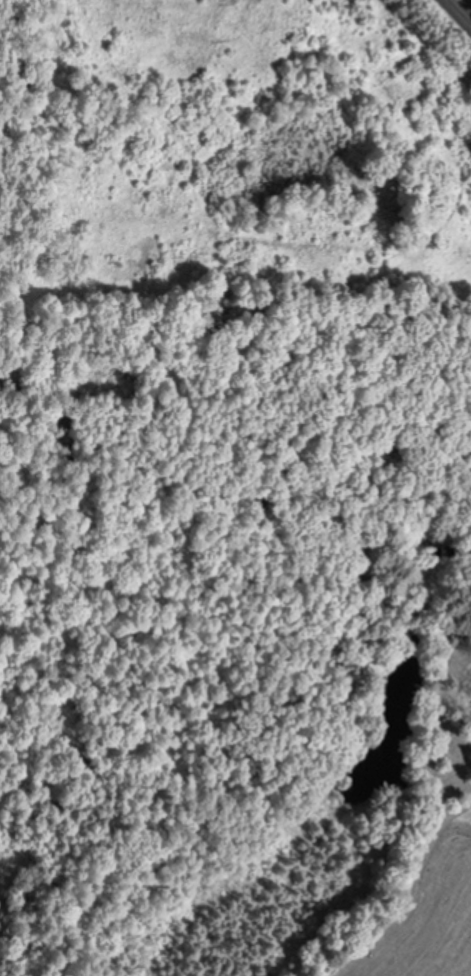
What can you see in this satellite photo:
road: (460, 11)

